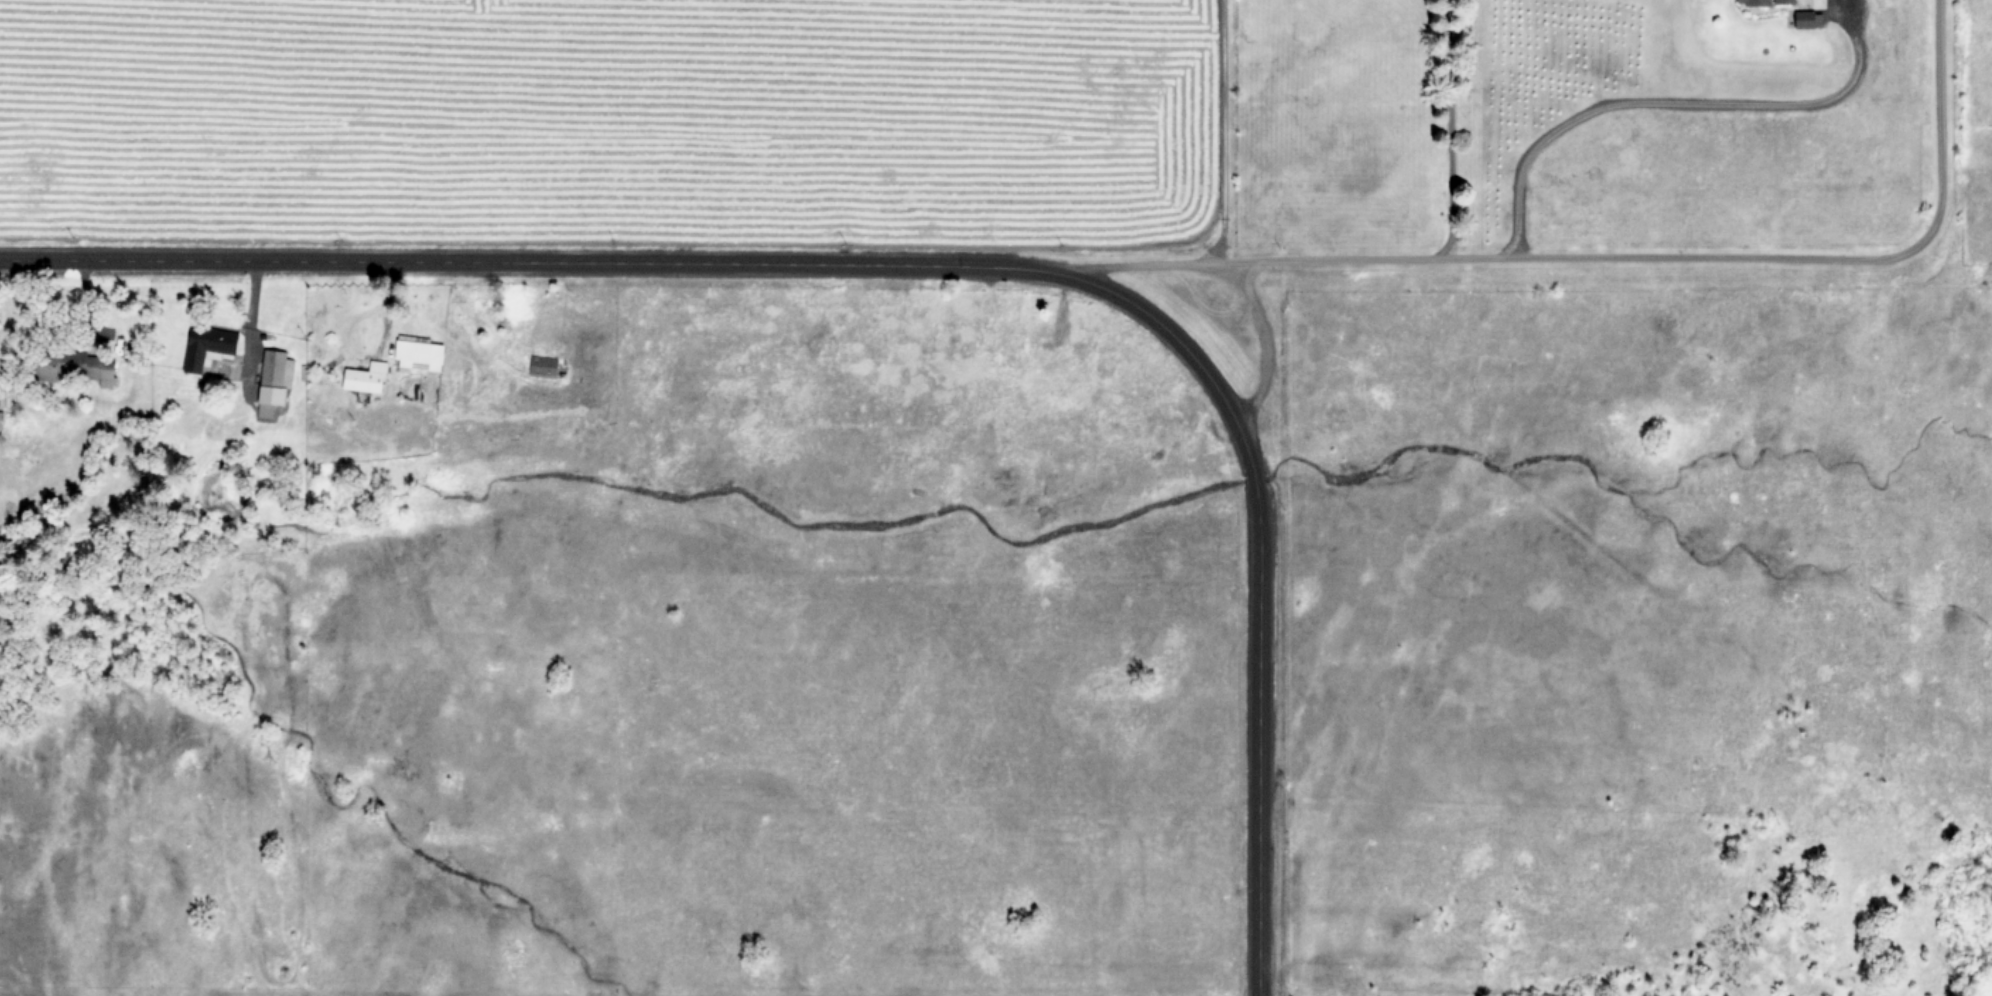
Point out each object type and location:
building: (1763, 1)
building: (1810, 18)
road: (1671, 100)
crop: (600, 114)
crop: (1622, 115)
road: (1448, 127)
road: (1220, 130)
road: (1710, 255)
road: (674, 263)
road: (1133, 263)
road: (1263, 343)
building: (208, 345)
building: (419, 352)
building: (544, 364)
building: (89, 365)
building: (366, 376)
building: (274, 379)
road: (1252, 477)
road: (1258, 739)

